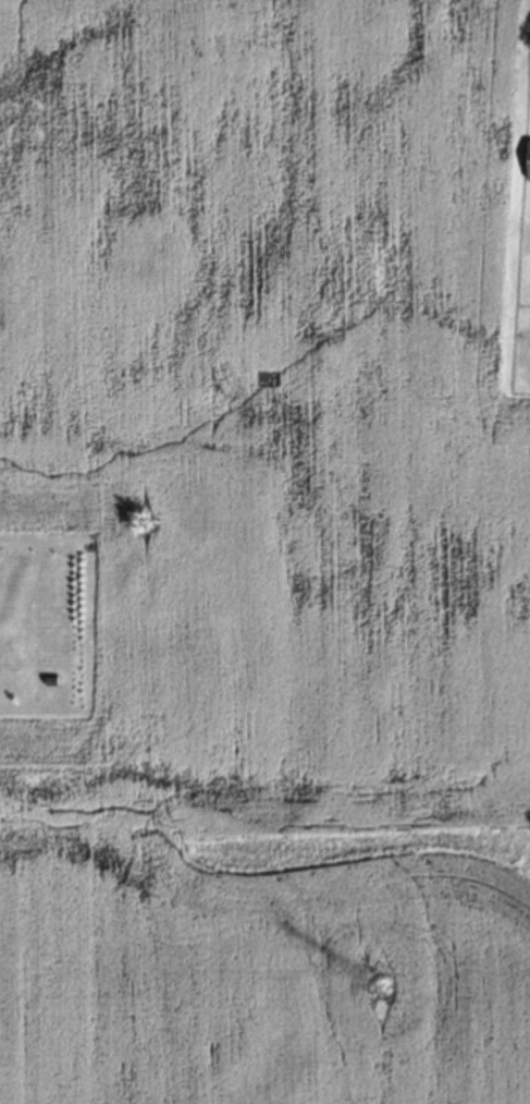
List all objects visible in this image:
building: (529, 161)
crop: (268, 554)
power tower: (380, 987)

